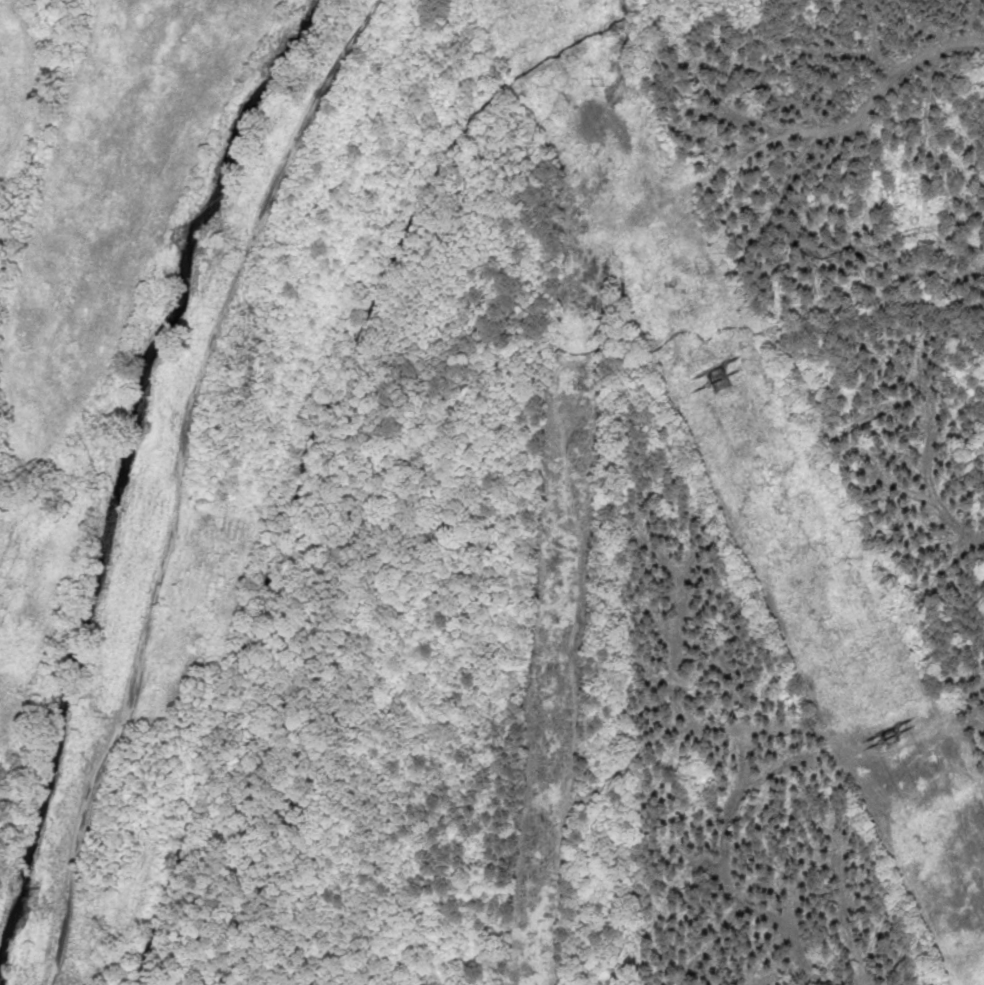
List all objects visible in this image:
power tower: (707, 372)
power tower: (882, 729)

